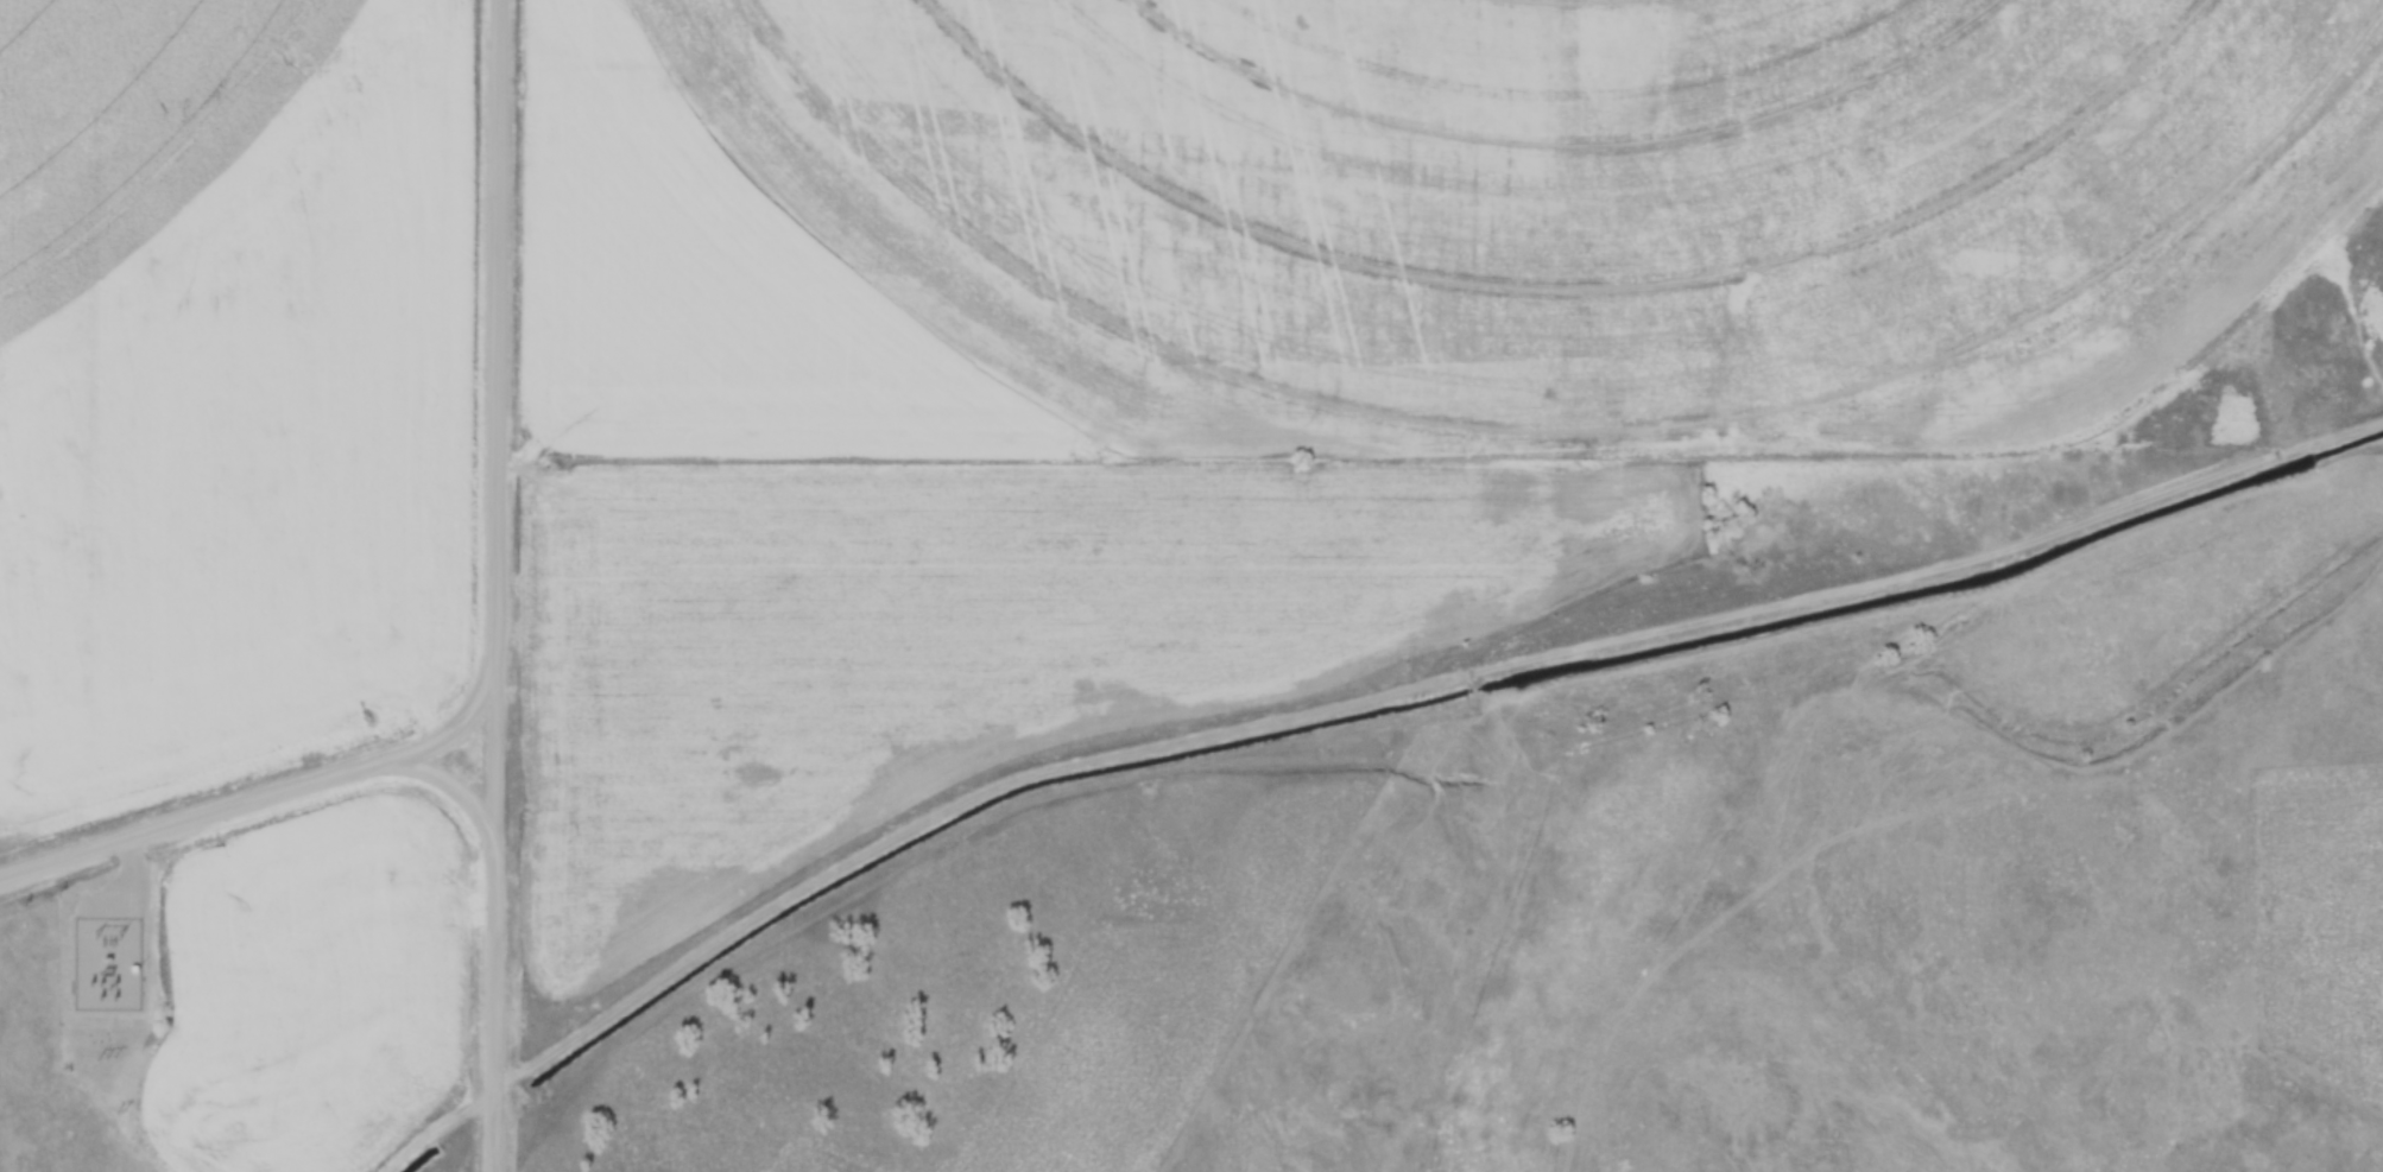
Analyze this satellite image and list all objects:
road: (497, 585)
road: (459, 787)
road: (266, 794)
road: (129, 876)
power tower: (107, 930)
power substation: (108, 961)
power tower: (107, 1056)

